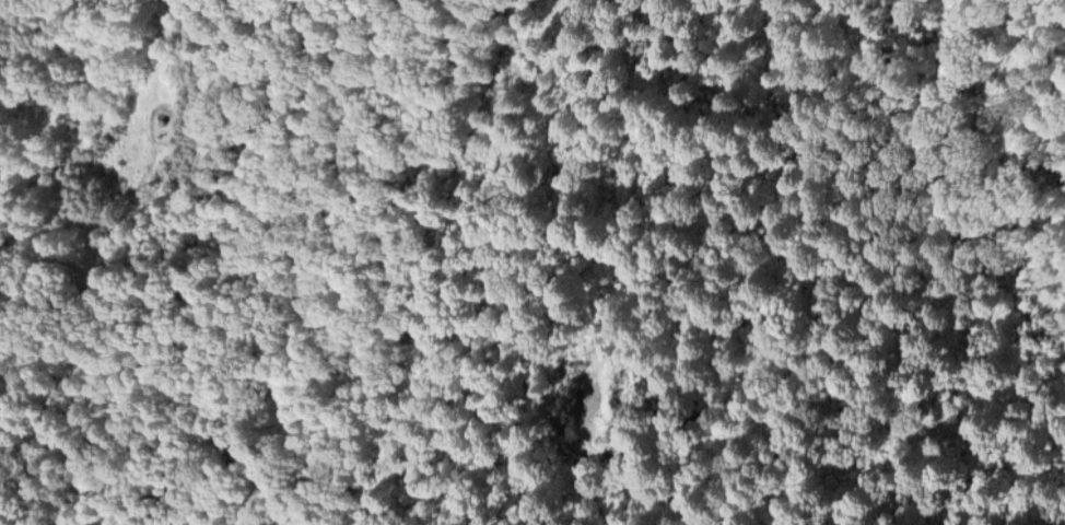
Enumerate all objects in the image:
road: (155, 55)
road: (434, 262)
building: (580, 410)
road: (787, 488)

